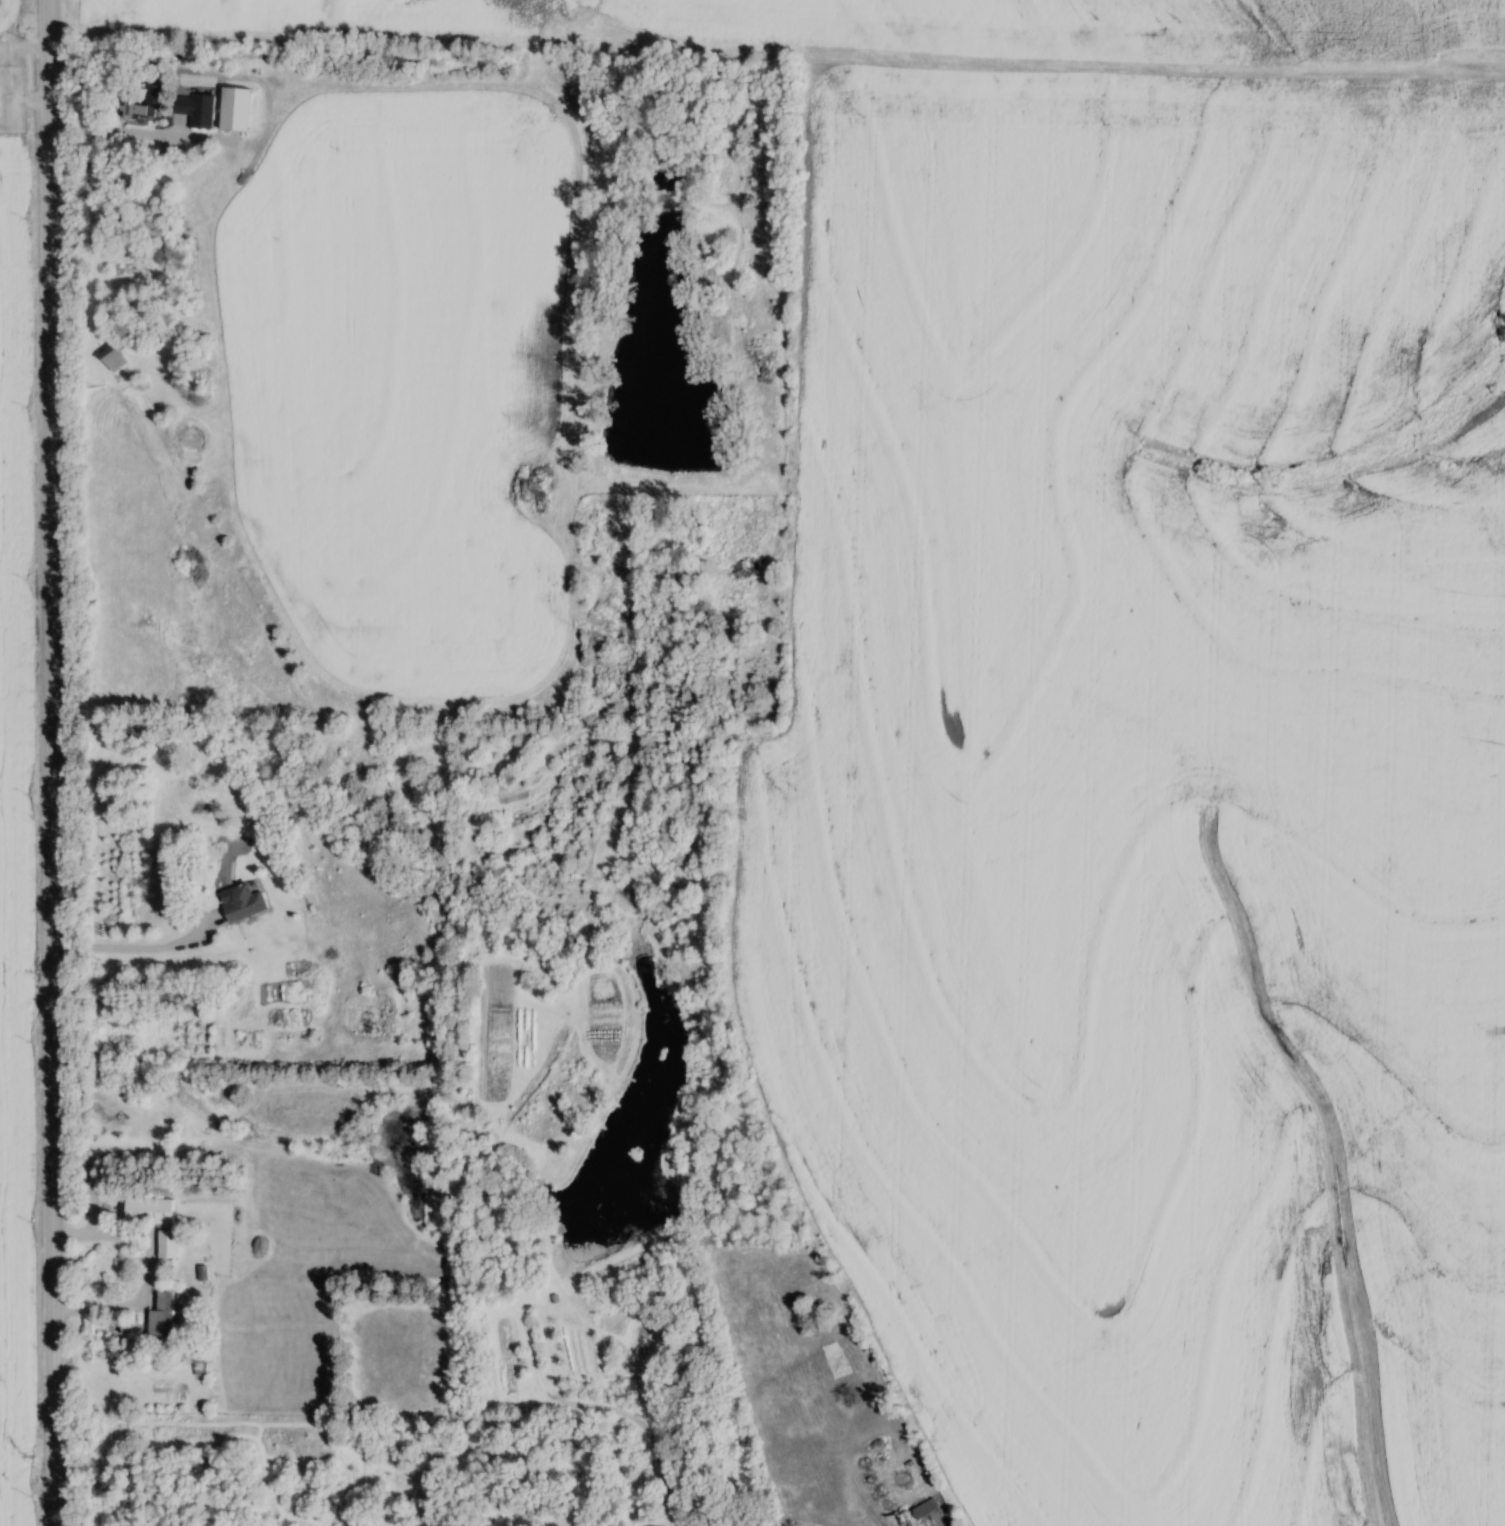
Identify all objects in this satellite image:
building: (142, 101)
building: (194, 108)
building: (233, 108)
road: (122, 131)
building: (110, 358)
road: (51, 762)
building: (242, 903)
road: (136, 948)
building: (146, 1210)
building: (165, 1244)
road: (150, 1267)
building: (159, 1315)
building: (923, 1508)

